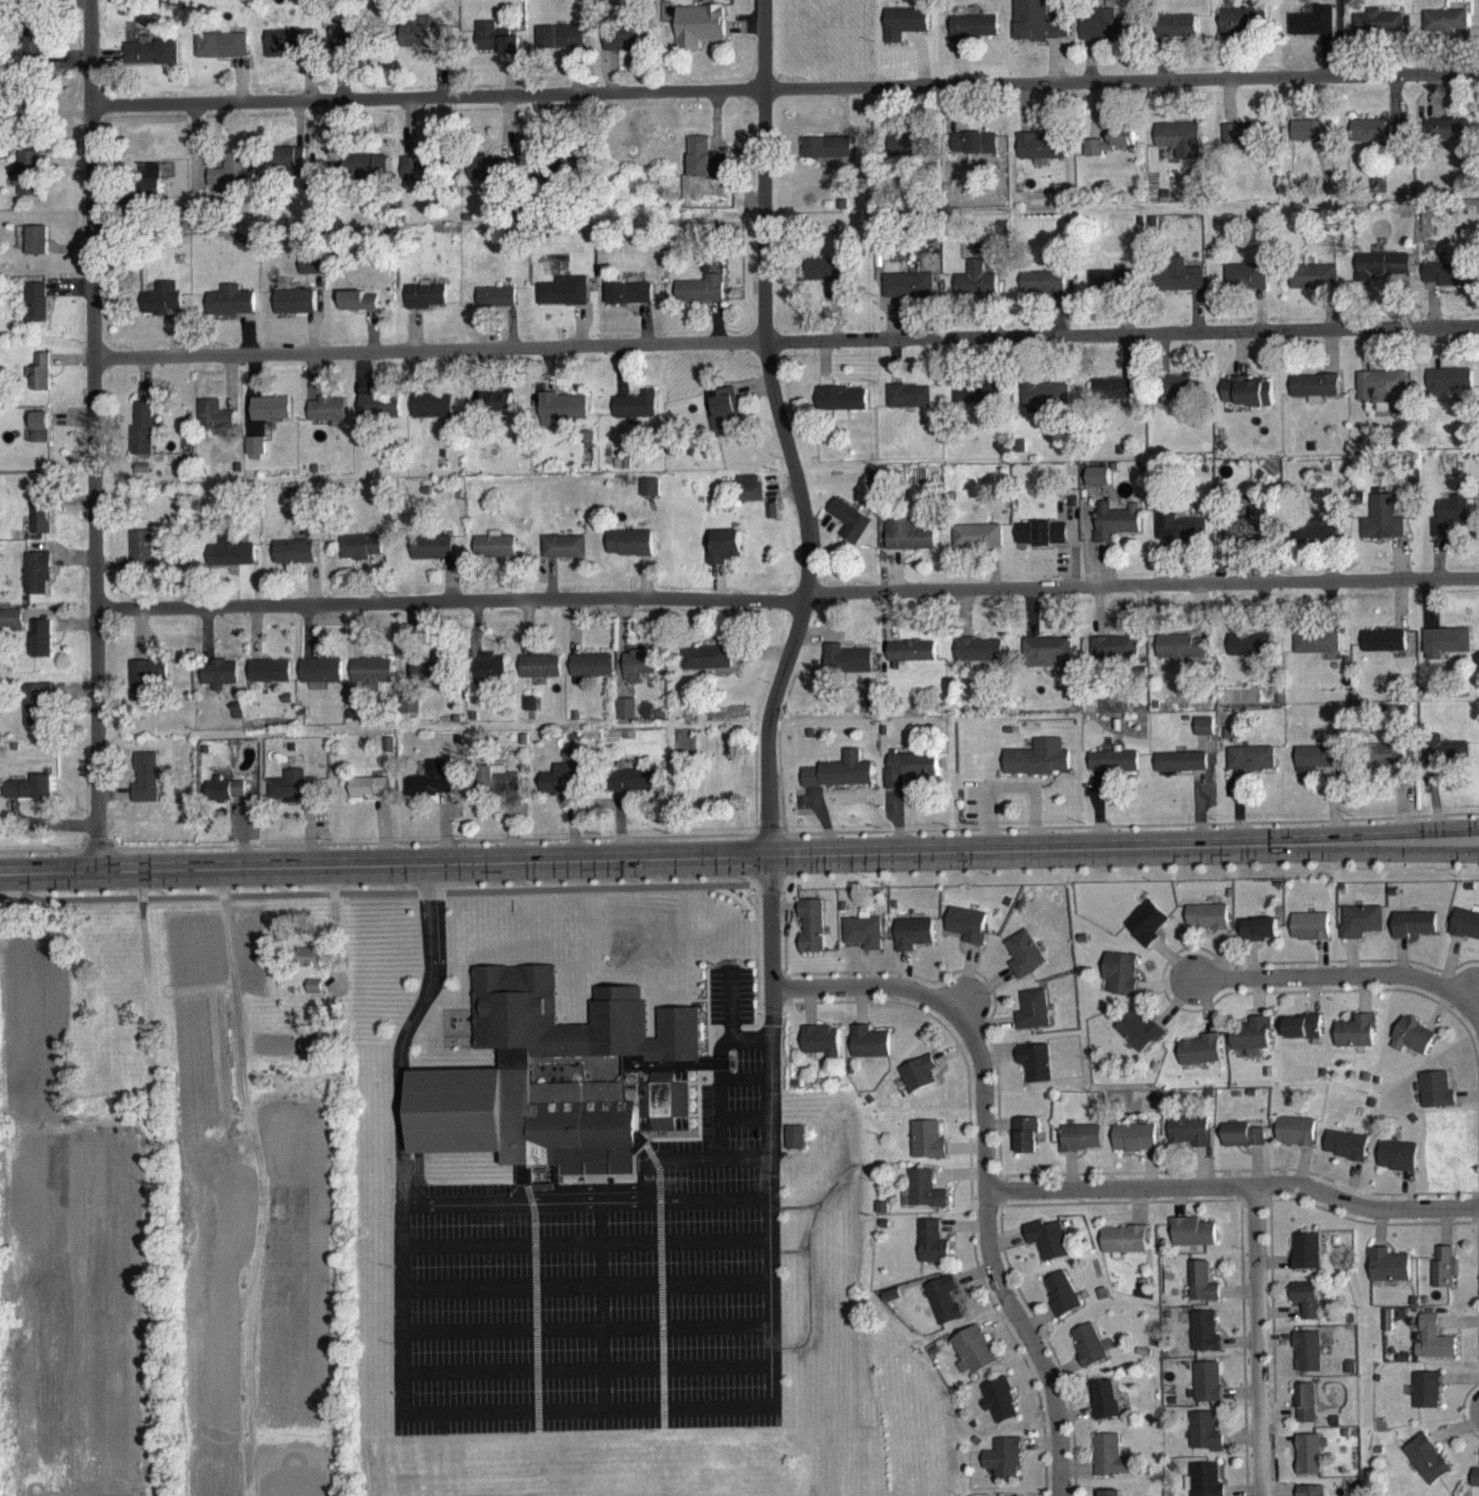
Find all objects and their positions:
building: (1242, 30)
building: (1037, 31)
building: (1447, 31)
building: (1314, 32)
building: (1379, 32)
building: (904, 33)
building: (698, 35)
building: (1106, 36)
building: (1176, 36)
building: (973, 37)
building: (348, 45)
building: (423, 45)
building: (485, 46)
building: (561, 46)
building: (626, 49)
building: (33, 51)
building: (290, 51)
building: (508, 52)
building: (223, 55)
building: (152, 61)
road: (784, 86)
building: (1312, 140)
building: (1445, 140)
building: (1375, 142)
building: (1242, 143)
building: (1181, 149)
building: (1111, 151)
building: (974, 153)
building: (909, 155)
building: (827, 157)
building: (1041, 157)
building: (289, 166)
building: (703, 167)
building: (366, 174)
building: (419, 179)
building: (490, 180)
building: (232, 181)
building: (28, 183)
building: (152, 190)
building: (38, 250)
building: (1384, 274)
building: (312, 275)
building: (1435, 283)
building: (827, 285)
building: (1179, 286)
building: (1313, 286)
building: (1246, 287)
building: (1111, 290)
building: (1043, 292)
building: (908, 295)
building: (701, 299)
building: (564, 301)
building: (629, 303)
building: (427, 306)
building: (497, 307)
building: (162, 309)
building: (231, 311)
building: (295, 311)
building: (359, 311)
building: (37, 312)
road: (785, 339)
building: (39, 382)
building: (1448, 392)
building: (1179, 397)
building: (1315, 397)
building: (1383, 398)
building: (1114, 399)
building: (1247, 401)
building: (975, 402)
building: (909, 406)
building: (1045, 407)
building: (842, 409)
building: (496, 411)
building: (433, 415)
building: (636, 415)
building: (379, 416)
building: (271, 418)
building: (561, 418)
building: (328, 420)
building: (725, 422)
building: (215, 425)
road: (92, 435)
building: (41, 437)
building: (143, 438)
building: (255, 458)
building: (1098, 486)
road: (801, 496)
building: (651, 498)
building: (751, 498)
building: (1450, 523)
building: (42, 524)
building: (1383, 529)
building: (850, 531)
building: (1116, 531)
building: (1251, 536)
building: (1178, 537)
building: (1317, 538)
building: (1042, 543)
building: (908, 544)
building: (978, 546)
building: (630, 553)
building: (495, 555)
building: (564, 556)
building: (361, 557)
building: (432, 557)
building: (725, 557)
building: (142, 558)
building: (294, 561)
building: (231, 562)
building: (37, 583)
road: (787, 599)
building: (12, 629)
building: (42, 648)
building: (1385, 651)
building: (1317, 652)
building: (1447, 652)
building: (1250, 655)
building: (1115, 657)
building: (1181, 657)
building: (979, 660)
building: (912, 661)
building: (1048, 663)
building: (707, 668)
building: (847, 669)
building: (592, 675)
building: (639, 675)
building: (540, 676)
building: (431, 679)
building: (489, 679)
building: (270, 681)
building: (373, 681)
building: (321, 682)
building: (221, 684)
building: (146, 688)
building: (409, 715)
building: (626, 719)
building: (1205, 736)
building: (1447, 762)
building: (1388, 764)
building: (1038, 768)
building: (1251, 768)
building: (1317, 768)
building: (1114, 772)
building: (1181, 772)
building: (909, 779)
building: (840, 782)
building: (146, 788)
building: (562, 789)
building: (430, 791)
building: (496, 791)
building: (634, 791)
building: (292, 797)
building: (370, 797)
building: (31, 798)
building: (226, 800)
road: (739, 855)
road: (393, 894)
building: (1207, 926)
building: (1361, 931)
building: (1147, 933)
building: (968, 934)
building: (1414, 934)
building: (1466, 934)
building: (812, 936)
building: (1310, 936)
building: (1260, 939)
building: (864, 941)
building: (913, 943)
building: (1025, 964)
building: (311, 967)
road: (1347, 973)
building: (1121, 983)
building: (316, 996)
building: (1033, 1020)
building: (1304, 1037)
building: (1139, 1040)
building: (1356, 1042)
building: (1252, 1044)
building: (1413, 1046)
building: (822, 1051)
building: (870, 1052)
building: (313, 1055)
building: (1201, 1060)
building: (1036, 1072)
building: (919, 1084)
building: (561, 1090)
building: (1437, 1100)
building: (1191, 1141)
building: (1295, 1141)
building: (1026, 1145)
building: (1242, 1145)
building: (795, 1147)
building: (1081, 1147)
building: (1135, 1147)
building: (928, 1150)
building: (1345, 1155)
road: (995, 1160)
building: (1397, 1166)
road: (1240, 1191)
building: (925, 1200)
road: (514, 1202)
building: (1193, 1242)
building: (1049, 1250)
building: (1124, 1250)
building: (932, 1253)
building: (1306, 1261)
building: (1389, 1276)
building: (1445, 1278)
building: (1202, 1293)
building: (1062, 1304)
building: (1308, 1309)
building: (944, 1310)
building: (1389, 1330)
building: (1205, 1342)
road: (1265, 1343)
building: (1434, 1350)
building: (1090, 1355)
building: (973, 1361)
building: (1309, 1362)
building: (1208, 1392)
building: (1428, 1400)
road: (588, 1407)
building: (1105, 1410)
building: (1000, 1411)
building: (1306, 1413)
building: (1205, 1442)
building: (1310, 1464)
building: (1110, 1466)
building: (1003, 1468)
building: (1428, 1469)
building: (1204, 1485)
building: (1476, 1486)
building: (1314, 1495)

